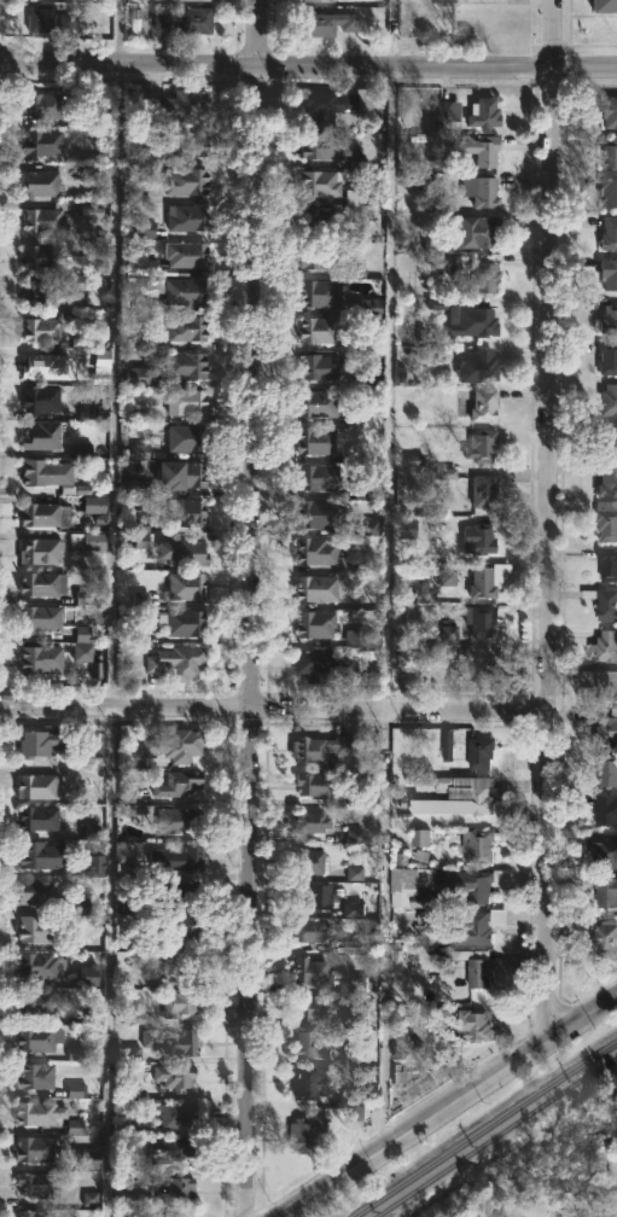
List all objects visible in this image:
building: (327, 0)
building: (446, 0)
building: (197, 1)
building: (600, 6)
building: (43, 19)
building: (186, 19)
building: (332, 22)
building: (139, 23)
road: (308, 70)
building: (184, 104)
building: (50, 105)
building: (334, 107)
building: (447, 111)
building: (487, 112)
building: (607, 112)
building: (46, 141)
building: (188, 142)
building: (321, 145)
building: (483, 150)
building: (607, 155)
building: (188, 180)
building: (324, 182)
building: (45, 185)
building: (483, 191)
building: (607, 192)
building: (366, 197)
building: (191, 217)
building: (320, 220)
building: (46, 221)
building: (479, 231)
building: (607, 234)
building: (188, 254)
building: (321, 256)
building: (43, 257)
building: (607, 275)
building: (488, 278)
building: (187, 291)
building: (321, 292)
building: (41, 293)
building: (367, 305)
building: (607, 321)
building: (477, 322)
building: (190, 328)
building: (320, 330)
building: (43, 331)
building: (609, 359)
building: (188, 365)
building: (488, 365)
building: (320, 366)
building: (48, 367)
building: (367, 378)
building: (46, 400)
building: (188, 401)
building: (606, 401)
building: (319, 402)
building: (487, 404)
building: (43, 436)
building: (604, 436)
building: (187, 437)
building: (319, 439)
building: (483, 446)
building: (47, 472)
building: (184, 473)
building: (322, 477)
building: (603, 478)
building: (134, 487)
building: (371, 488)
building: (487, 491)
building: (97, 506)
building: (187, 512)
building: (324, 513)
building: (46, 514)
road: (545, 520)
road: (559, 523)
building: (609, 524)
building: (409, 530)
building: (481, 540)
building: (88, 541)
building: (42, 551)
building: (319, 551)
building: (185, 552)
building: (605, 565)
road: (388, 572)
building: (466, 580)
building: (45, 583)
building: (187, 586)
building: (320, 587)
building: (604, 602)
road: (250, 607)
road: (112, 608)
building: (43, 617)
building: (484, 621)
building: (182, 623)
building: (318, 624)
building: (605, 645)
building: (43, 659)
building: (177, 662)
building: (481, 663)
building: (326, 664)
building: (603, 682)
road: (270, 706)
road: (456, 724)
building: (606, 728)
building: (39, 744)
building: (176, 745)
building: (324, 747)
building: (483, 753)
building: (604, 769)
building: (180, 785)
building: (316, 785)
building: (40, 786)
building: (460, 796)
building: (604, 810)
building: (175, 819)
building: (37, 820)
building: (308, 821)
building: (89, 831)
building: (477, 846)
building: (603, 851)
building: (45, 855)
road: (226, 855)
building: (179, 860)
building: (310, 863)
building: (98, 868)
building: (132, 869)
building: (470, 884)
building: (604, 890)
building: (40, 891)
building: (180, 895)
building: (318, 896)
building: (80, 906)
building: (127, 906)
building: (37, 930)
building: (184, 930)
building: (468, 930)
building: (310, 932)
building: (601, 939)
building: (39, 966)
building: (181, 966)
building: (314, 973)
building: (482, 974)
building: (87, 976)
building: (37, 1001)
building: (181, 1002)
building: (308, 1008)
building: (458, 1035)
building: (40, 1037)
building: (179, 1041)
building: (397, 1043)
building: (313, 1044)
building: (132, 1052)
building: (74, 1054)
building: (175, 1076)
building: (39, 1077)
building: (312, 1082)
building: (418, 1091)
road: (444, 1106)
building: (41, 1112)
building: (179, 1113)
building: (308, 1131)
railway: (485, 1131)
railway: (495, 1137)
building: (168, 1148)
building: (36, 1149)
building: (36, 1183)
building: (180, 1190)
building: (616, 1196)
building: (36, 1213)
building: (179, 1216)

